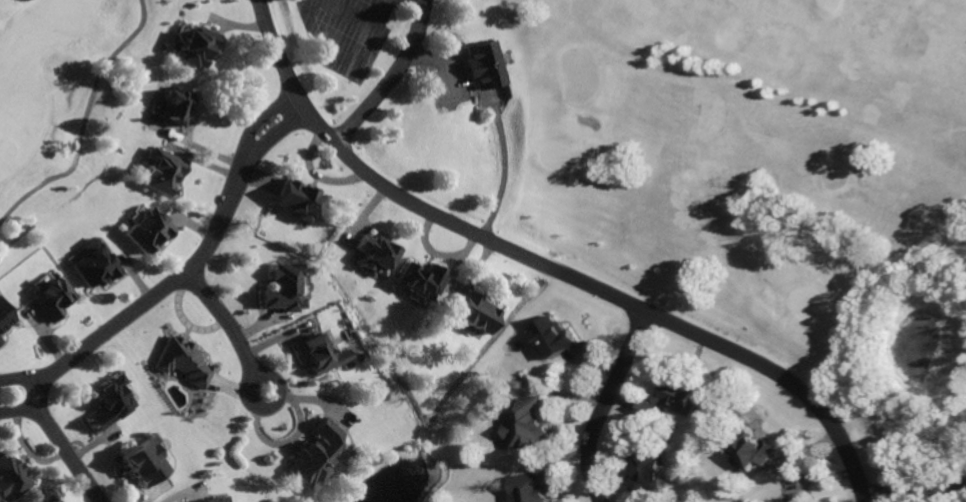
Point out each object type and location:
building: (193, 45)
building: (483, 64)
road: (394, 80)
park: (62, 96)
building: (172, 100)
road: (85, 121)
building: (160, 171)
building: (297, 200)
building: (146, 230)
building: (374, 251)
building: (91, 262)
road: (543, 268)
building: (419, 279)
building: (283, 287)
building: (51, 300)
road: (143, 307)
building: (475, 313)
building: (3, 318)
road: (231, 328)
building: (551, 335)
building: (320, 353)
building: (181, 360)
road: (25, 377)
building: (676, 394)
building: (107, 401)
road: (603, 405)
building: (645, 409)
road: (20, 411)
building: (526, 423)
building: (750, 449)
building: (312, 453)
building: (143, 462)
building: (644, 472)
building: (9, 479)
building: (529, 486)
road: (914, 492)
building: (44, 496)
building: (211, 499)
building: (796, 499)

